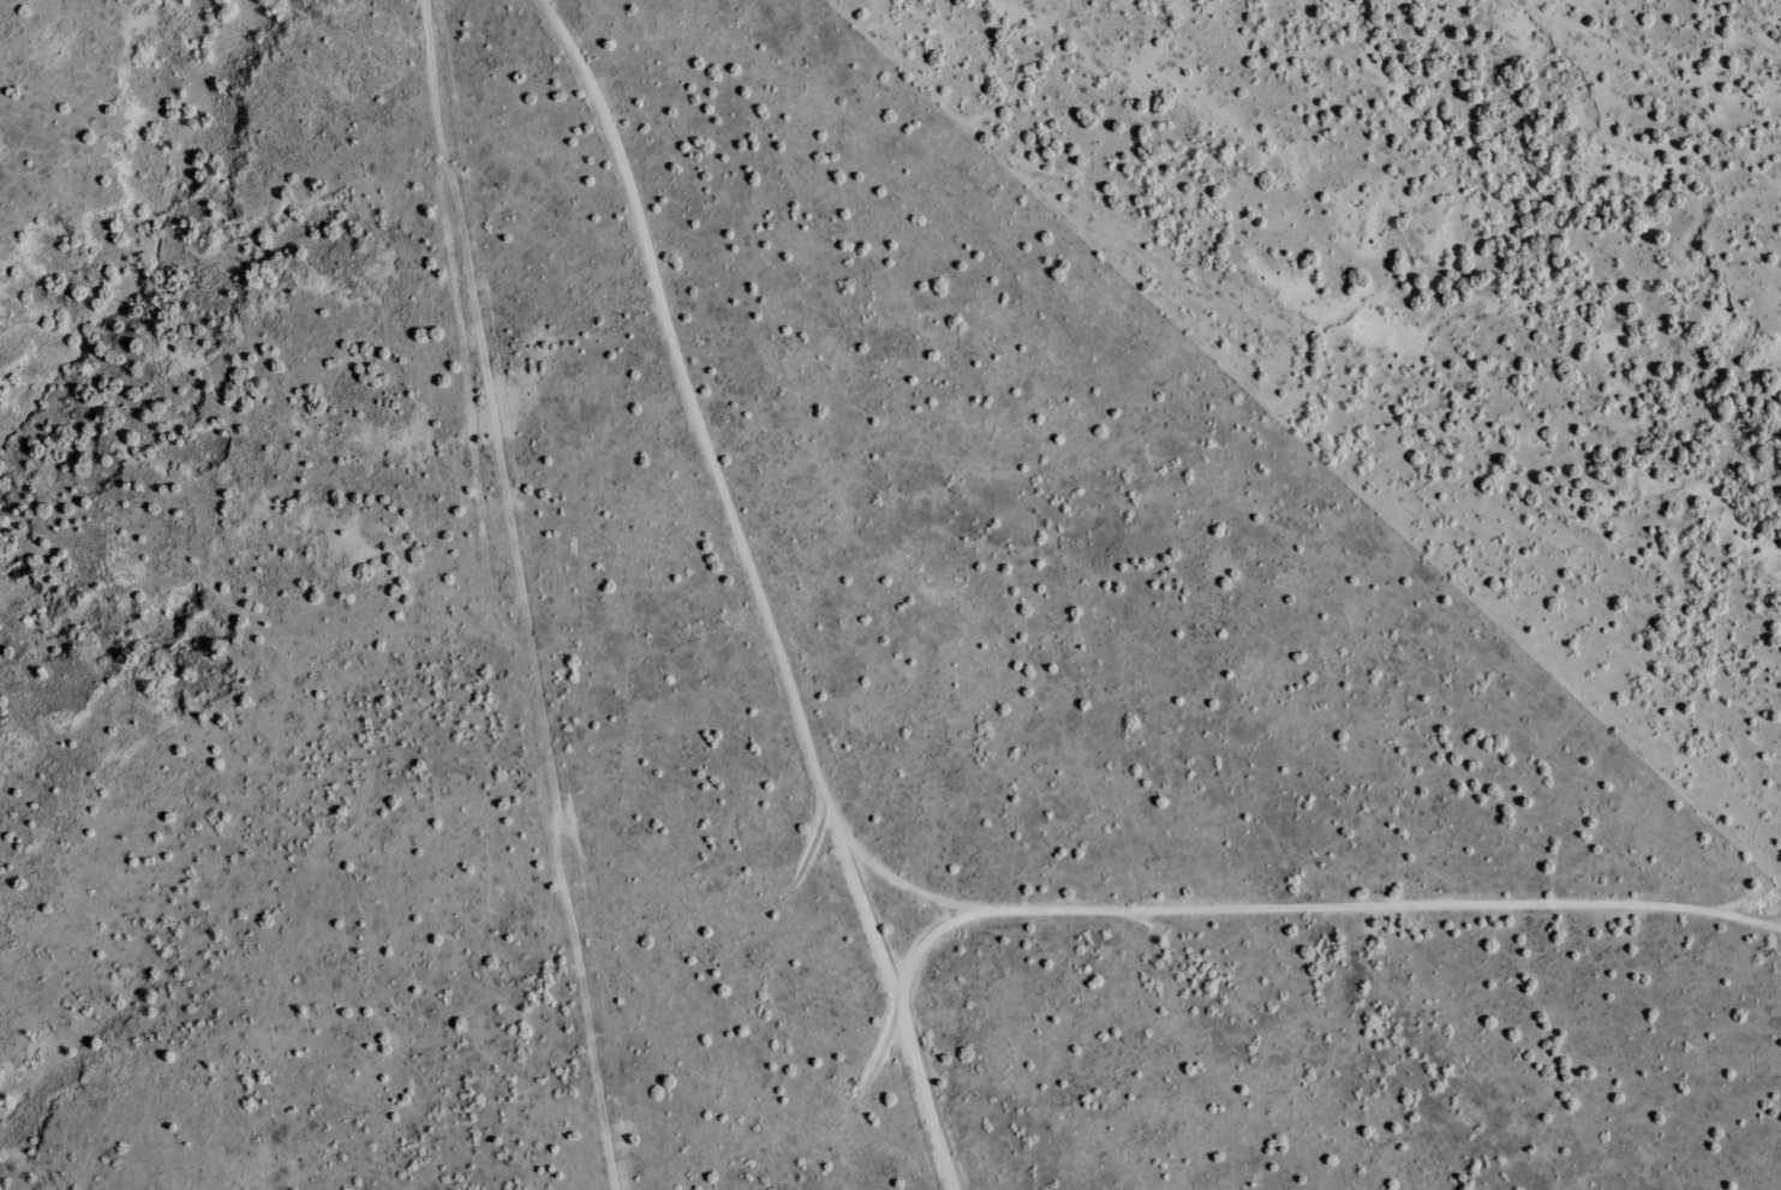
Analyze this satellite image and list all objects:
road: (480, 604)
road: (1332, 892)

